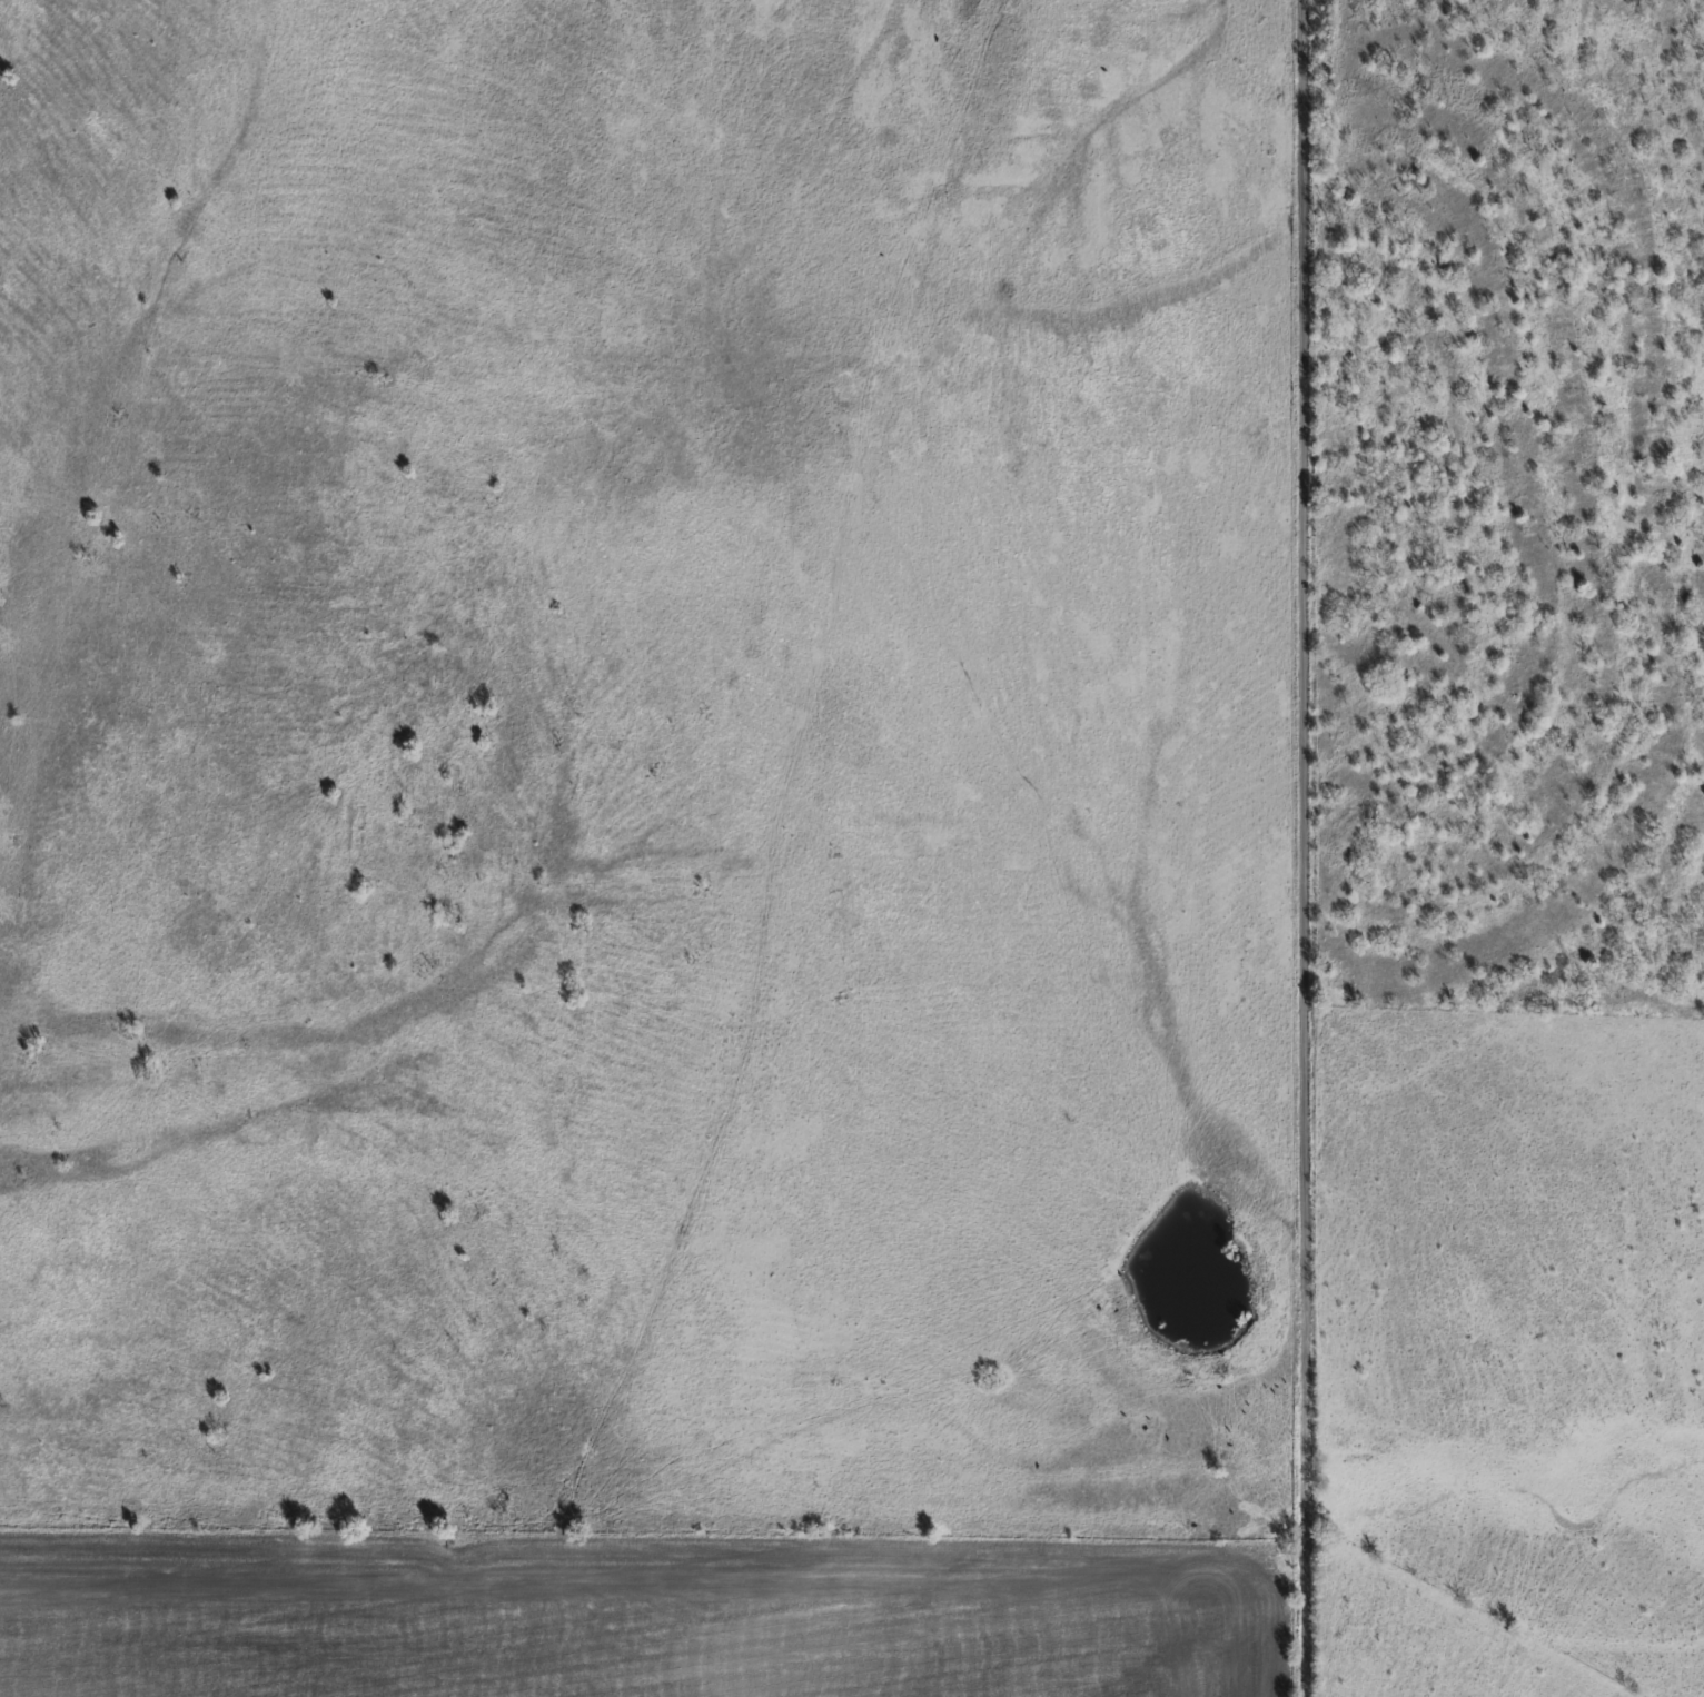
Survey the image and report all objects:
road: (1299, 848)

